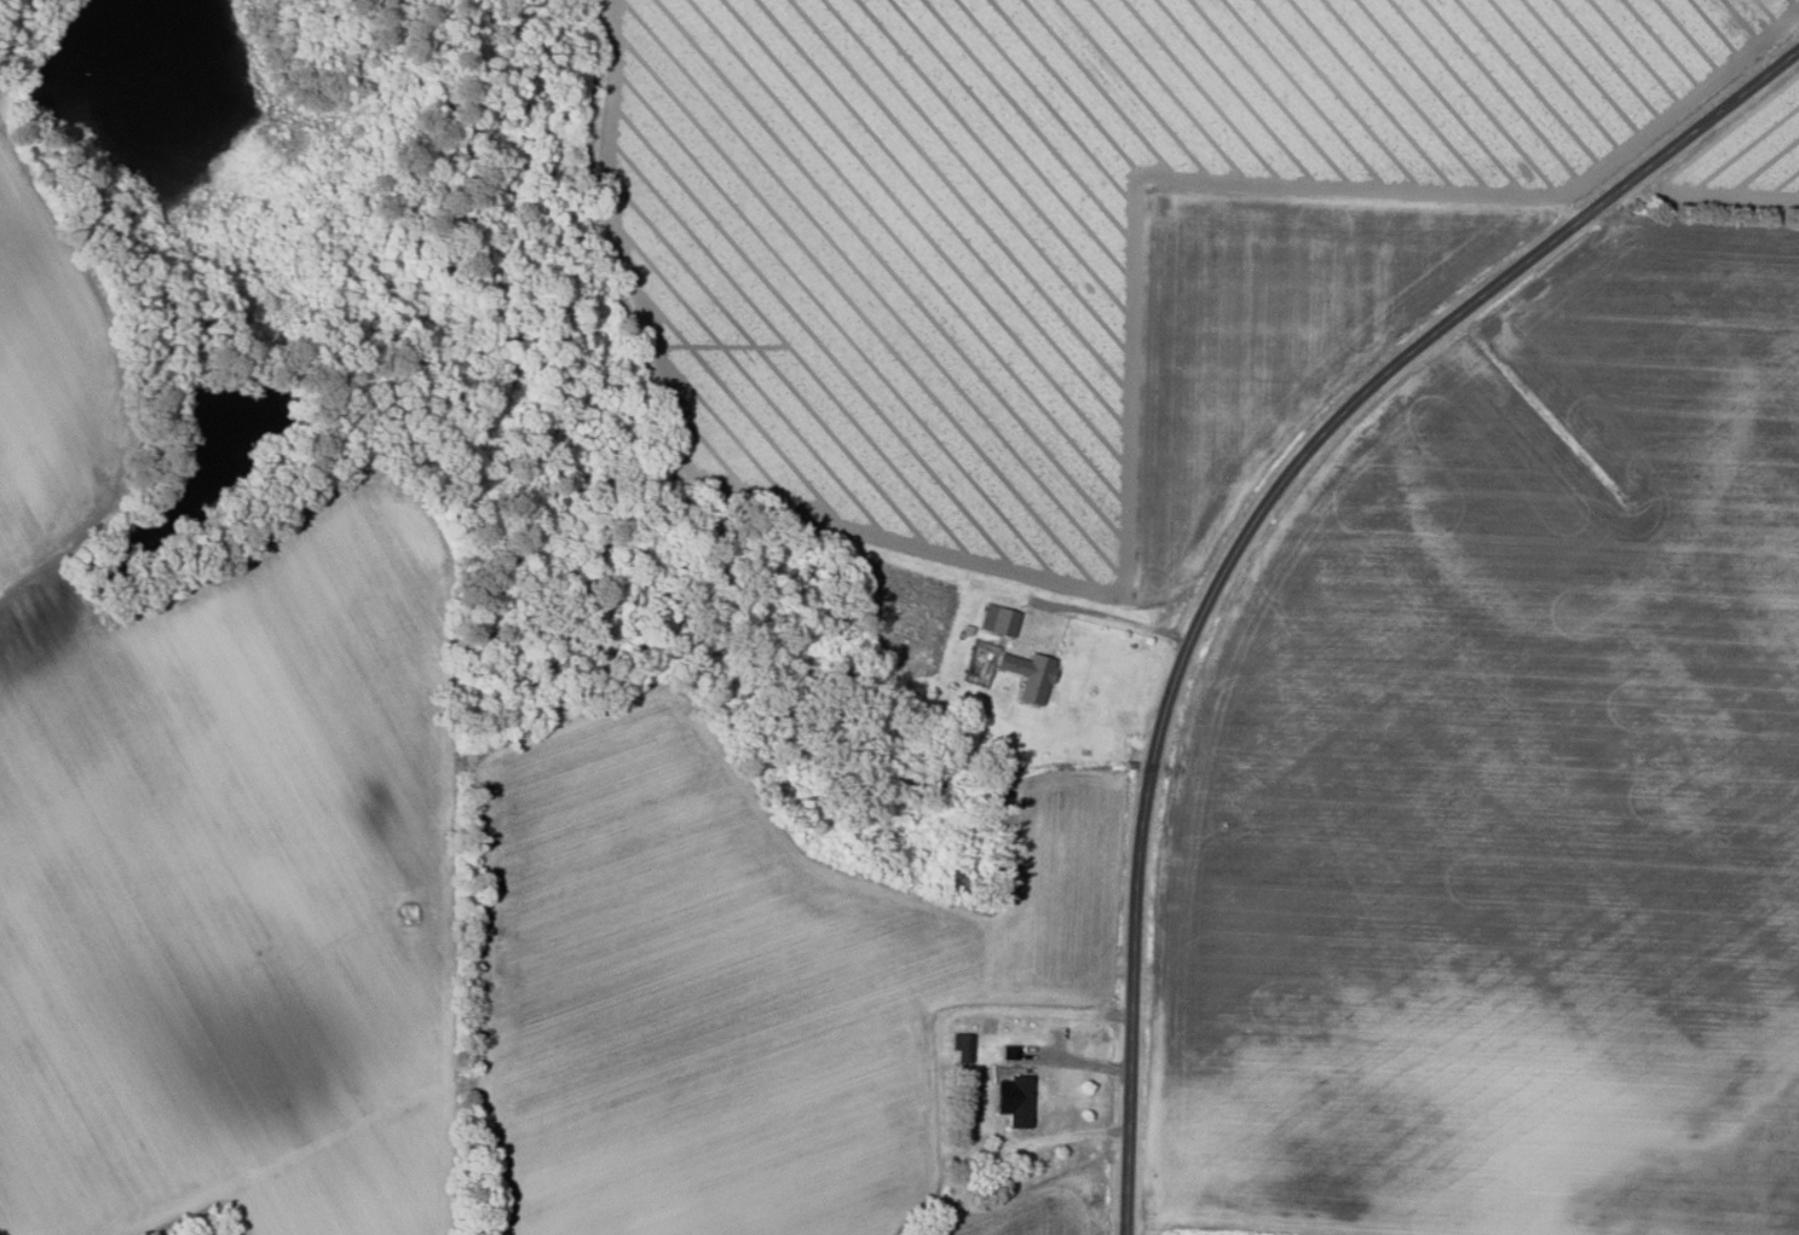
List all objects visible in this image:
road: (1252, 527)
road: (1111, 616)
building: (996, 619)
building: (1027, 674)
building: (961, 1048)
building: (1011, 1100)

